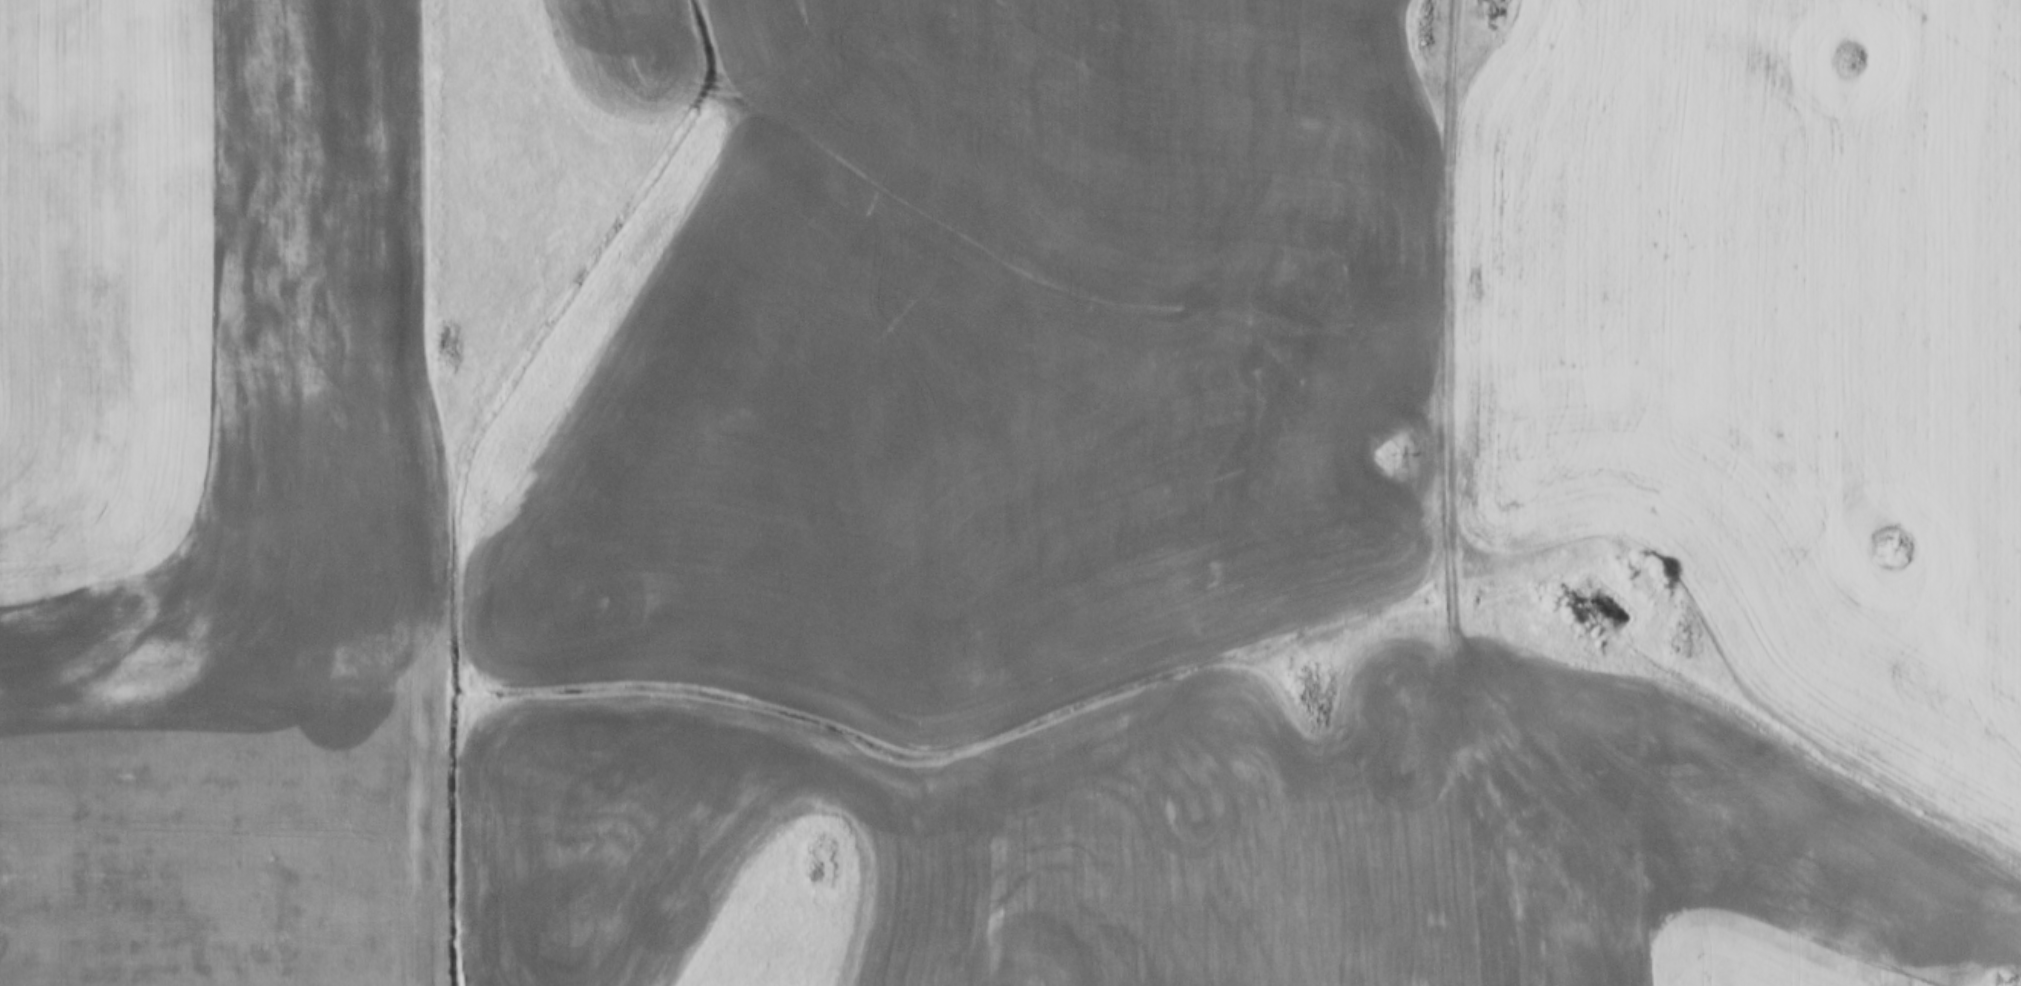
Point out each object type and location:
road: (918, 770)

